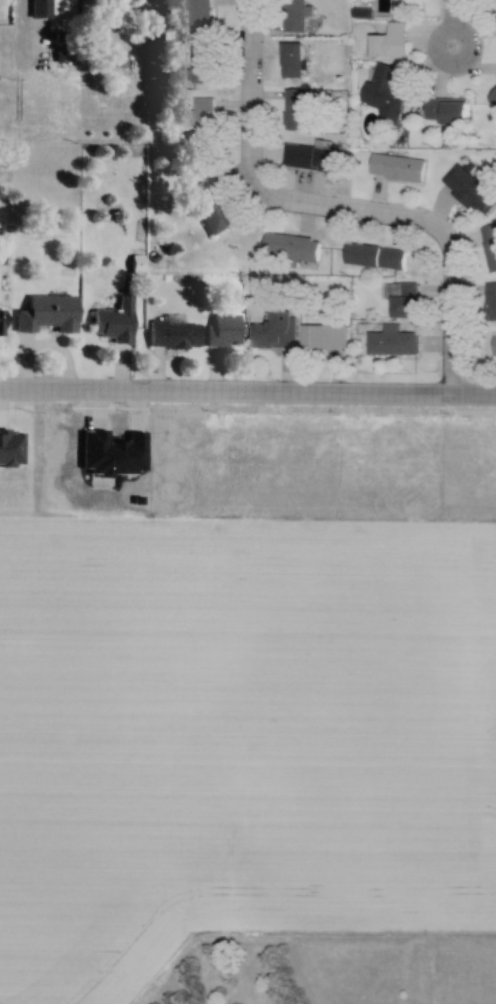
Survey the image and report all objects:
building: (40, 8)
building: (294, 15)
building: (198, 17)
road: (454, 21)
building: (390, 41)
building: (293, 60)
building: (197, 64)
building: (385, 95)
building: (298, 107)
building: (448, 111)
building: (200, 117)
building: (313, 158)
building: (397, 168)
building: (470, 187)
building: (210, 207)
road: (331, 211)
building: (491, 246)
building: (290, 247)
building: (374, 255)
building: (403, 299)
building: (493, 301)
building: (48, 314)
building: (115, 322)
building: (2, 323)
building: (224, 330)
building: (273, 331)
building: (174, 334)
building: (322, 336)
building: (391, 341)
building: (494, 345)
road: (247, 396)
crop: (244, 693)

